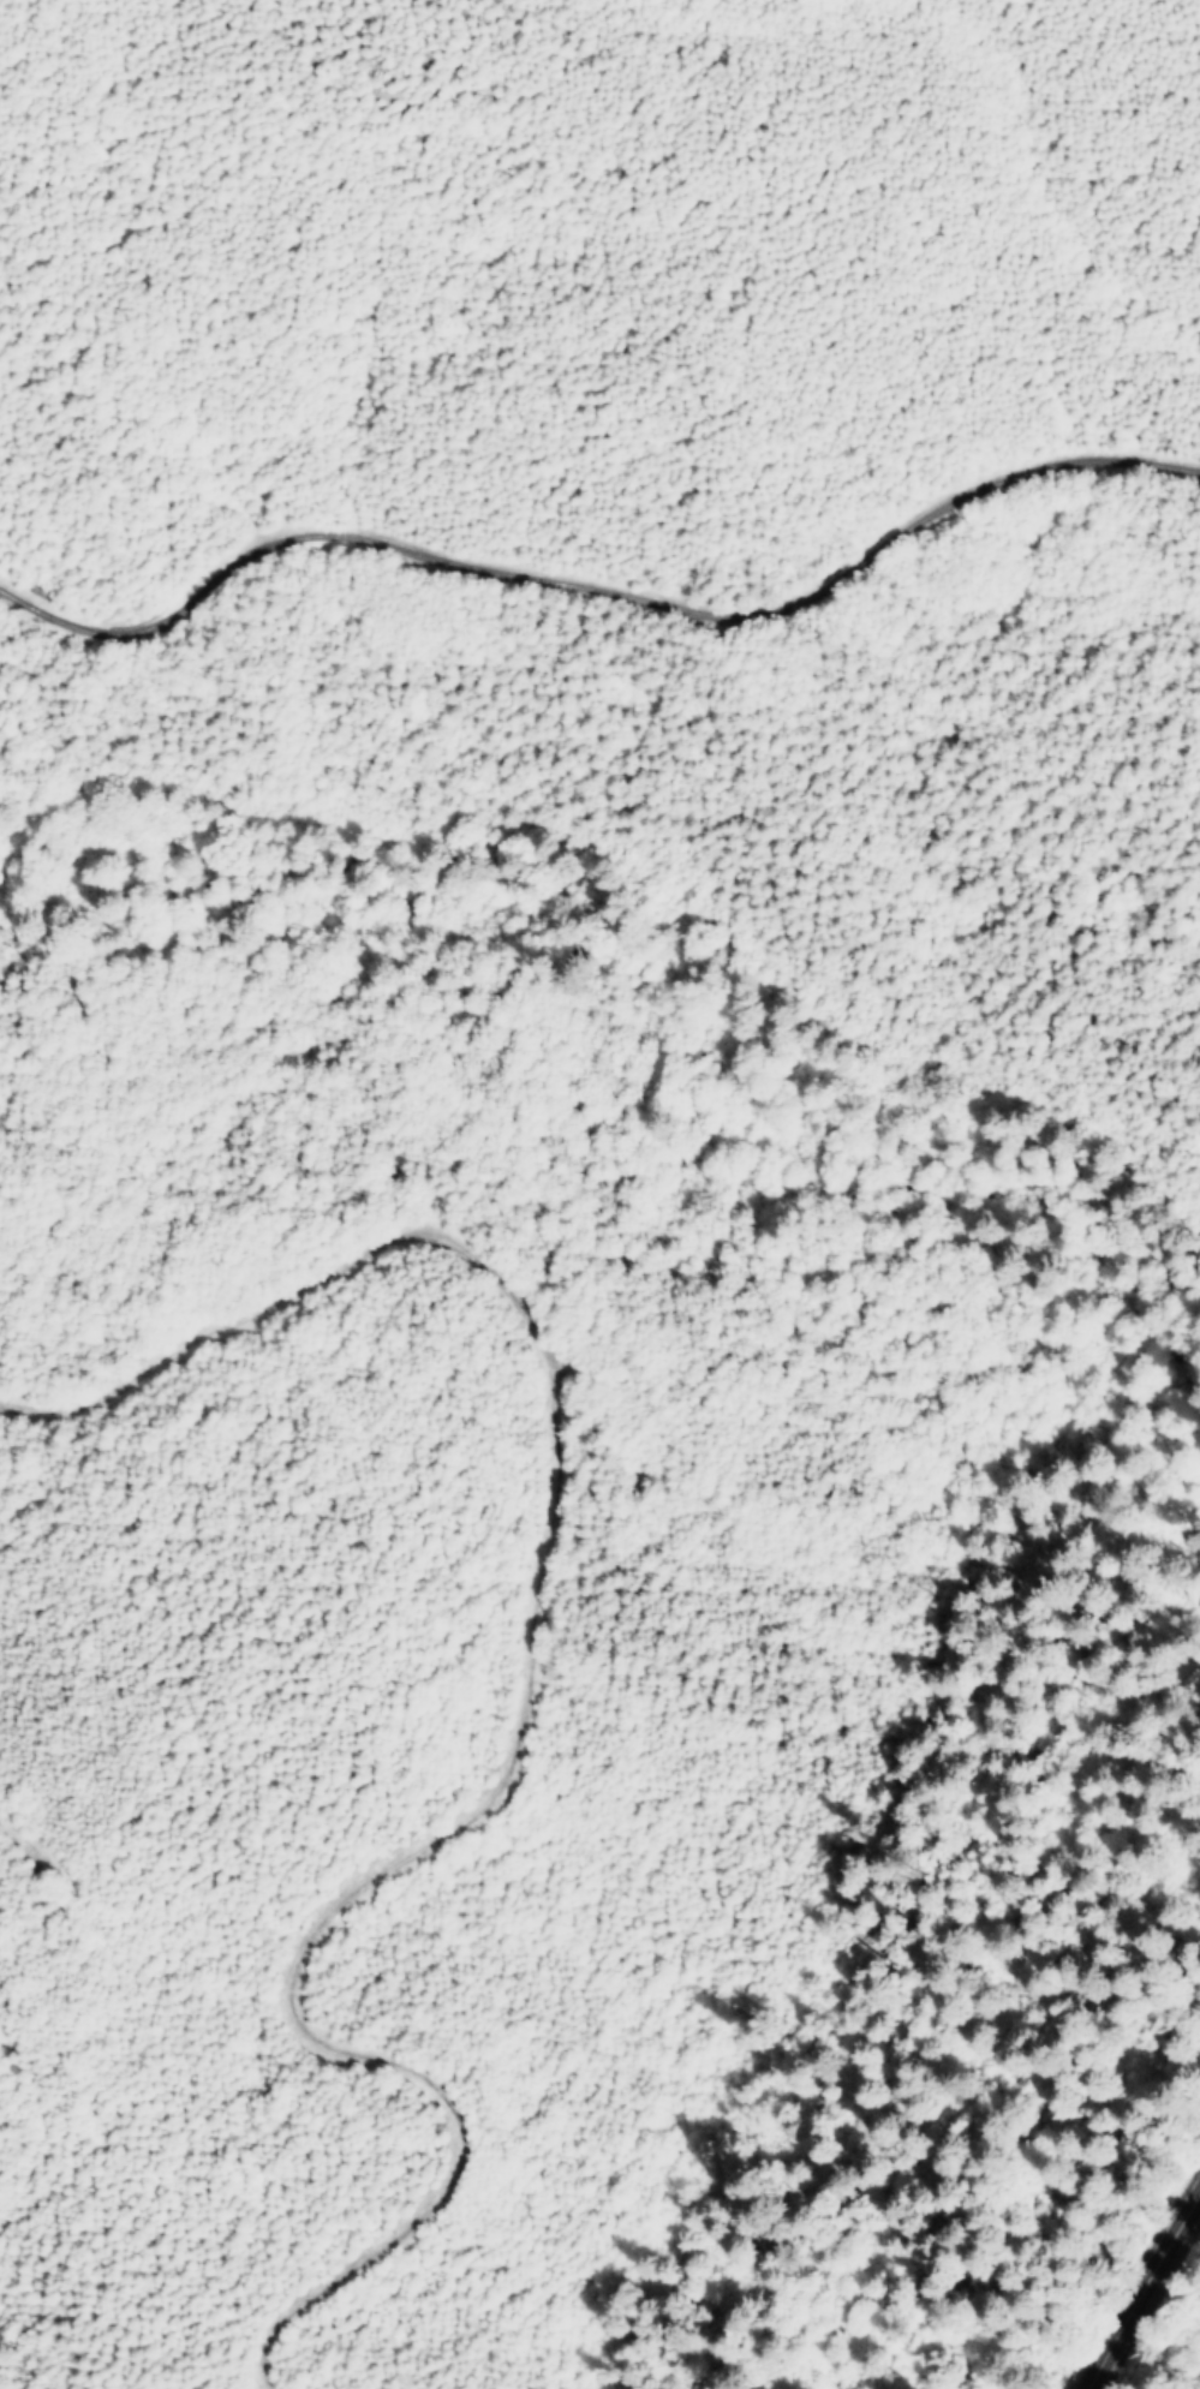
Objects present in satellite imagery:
road: (597, 580)
road: (1145, 2300)

